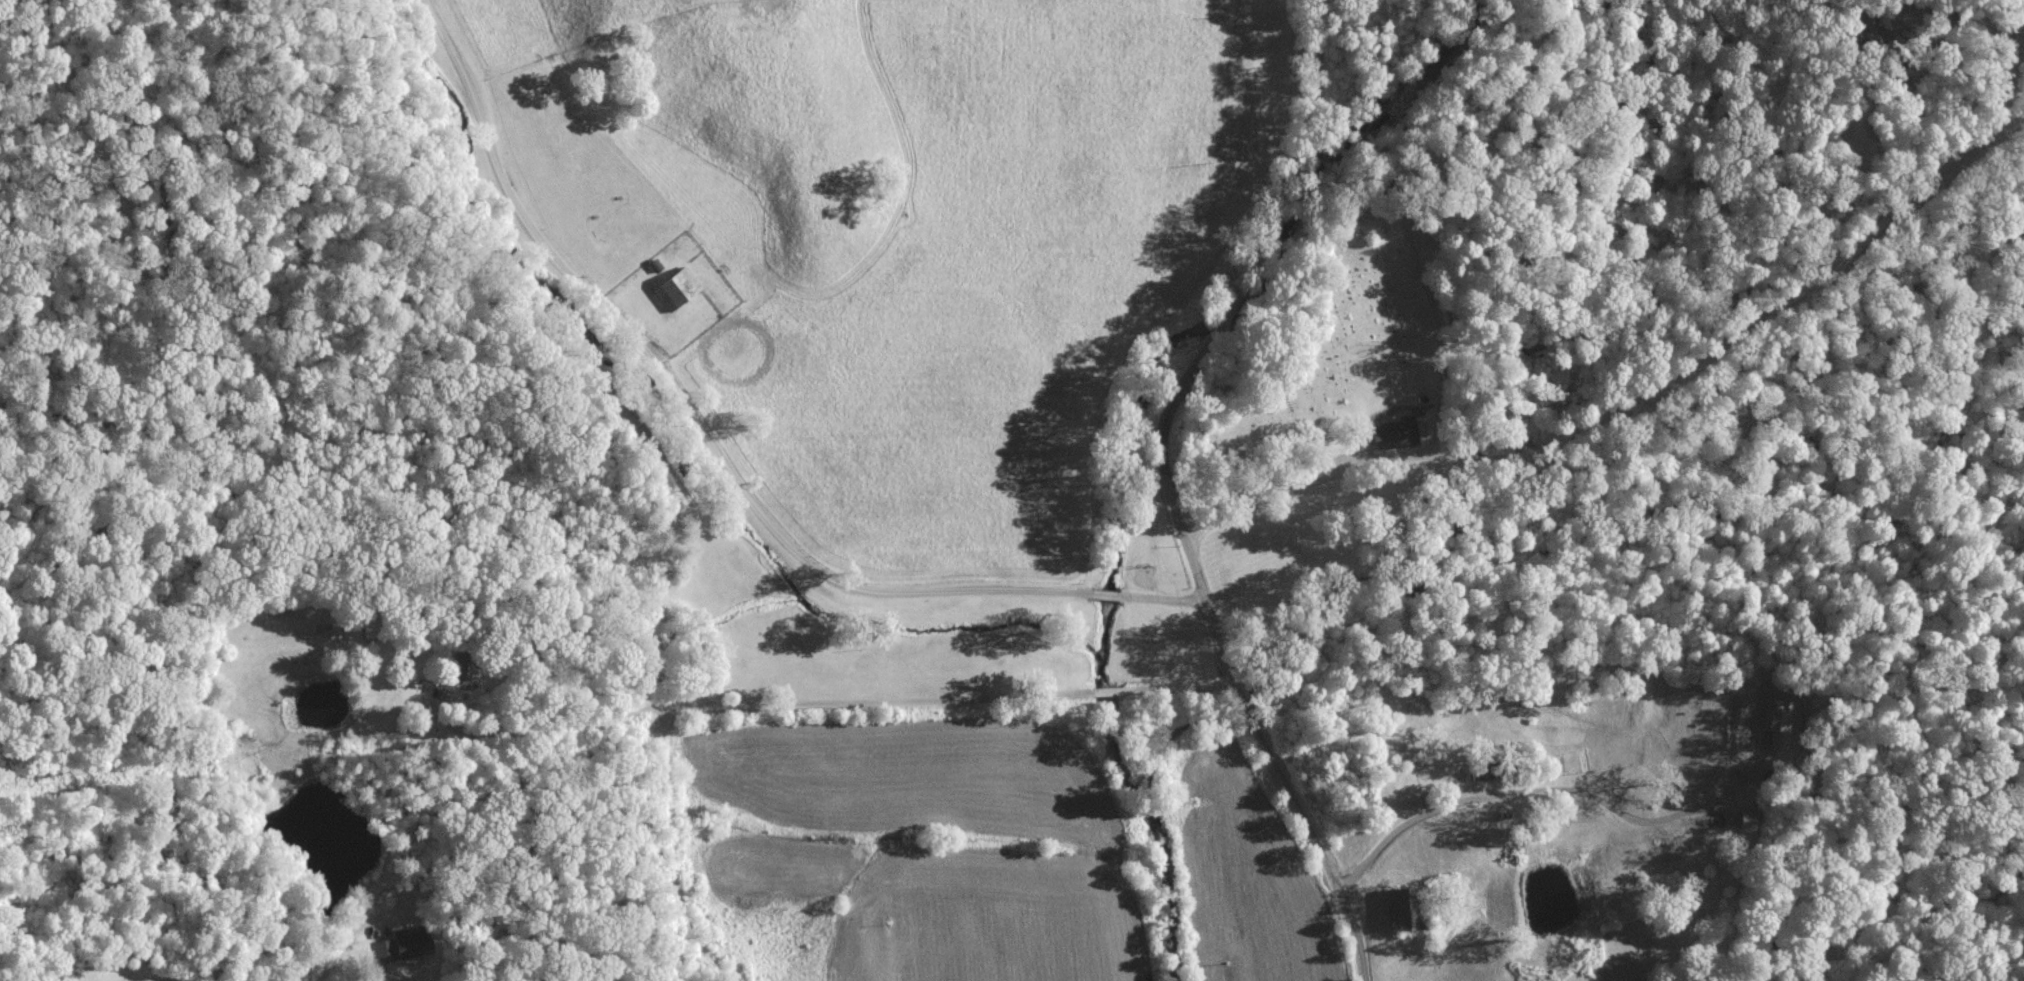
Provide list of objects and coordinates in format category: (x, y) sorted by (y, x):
road: (1912, 2)
road: (2008, 71)
road: (1316, 106)
road: (1254, 257)
building: (677, 288)
road: (1221, 321)
road: (689, 407)
road: (1653, 425)
building: (1398, 431)
road: (1106, 593)
road: (1166, 597)
road: (1234, 659)
building: (464, 663)
road: (1183, 685)
road: (1107, 689)
road: (652, 718)
building: (1778, 722)
road: (532, 724)
building: (1485, 771)
road: (1523, 793)
road: (675, 852)
building: (1410, 906)
building: (404, 943)
road: (127, 956)

